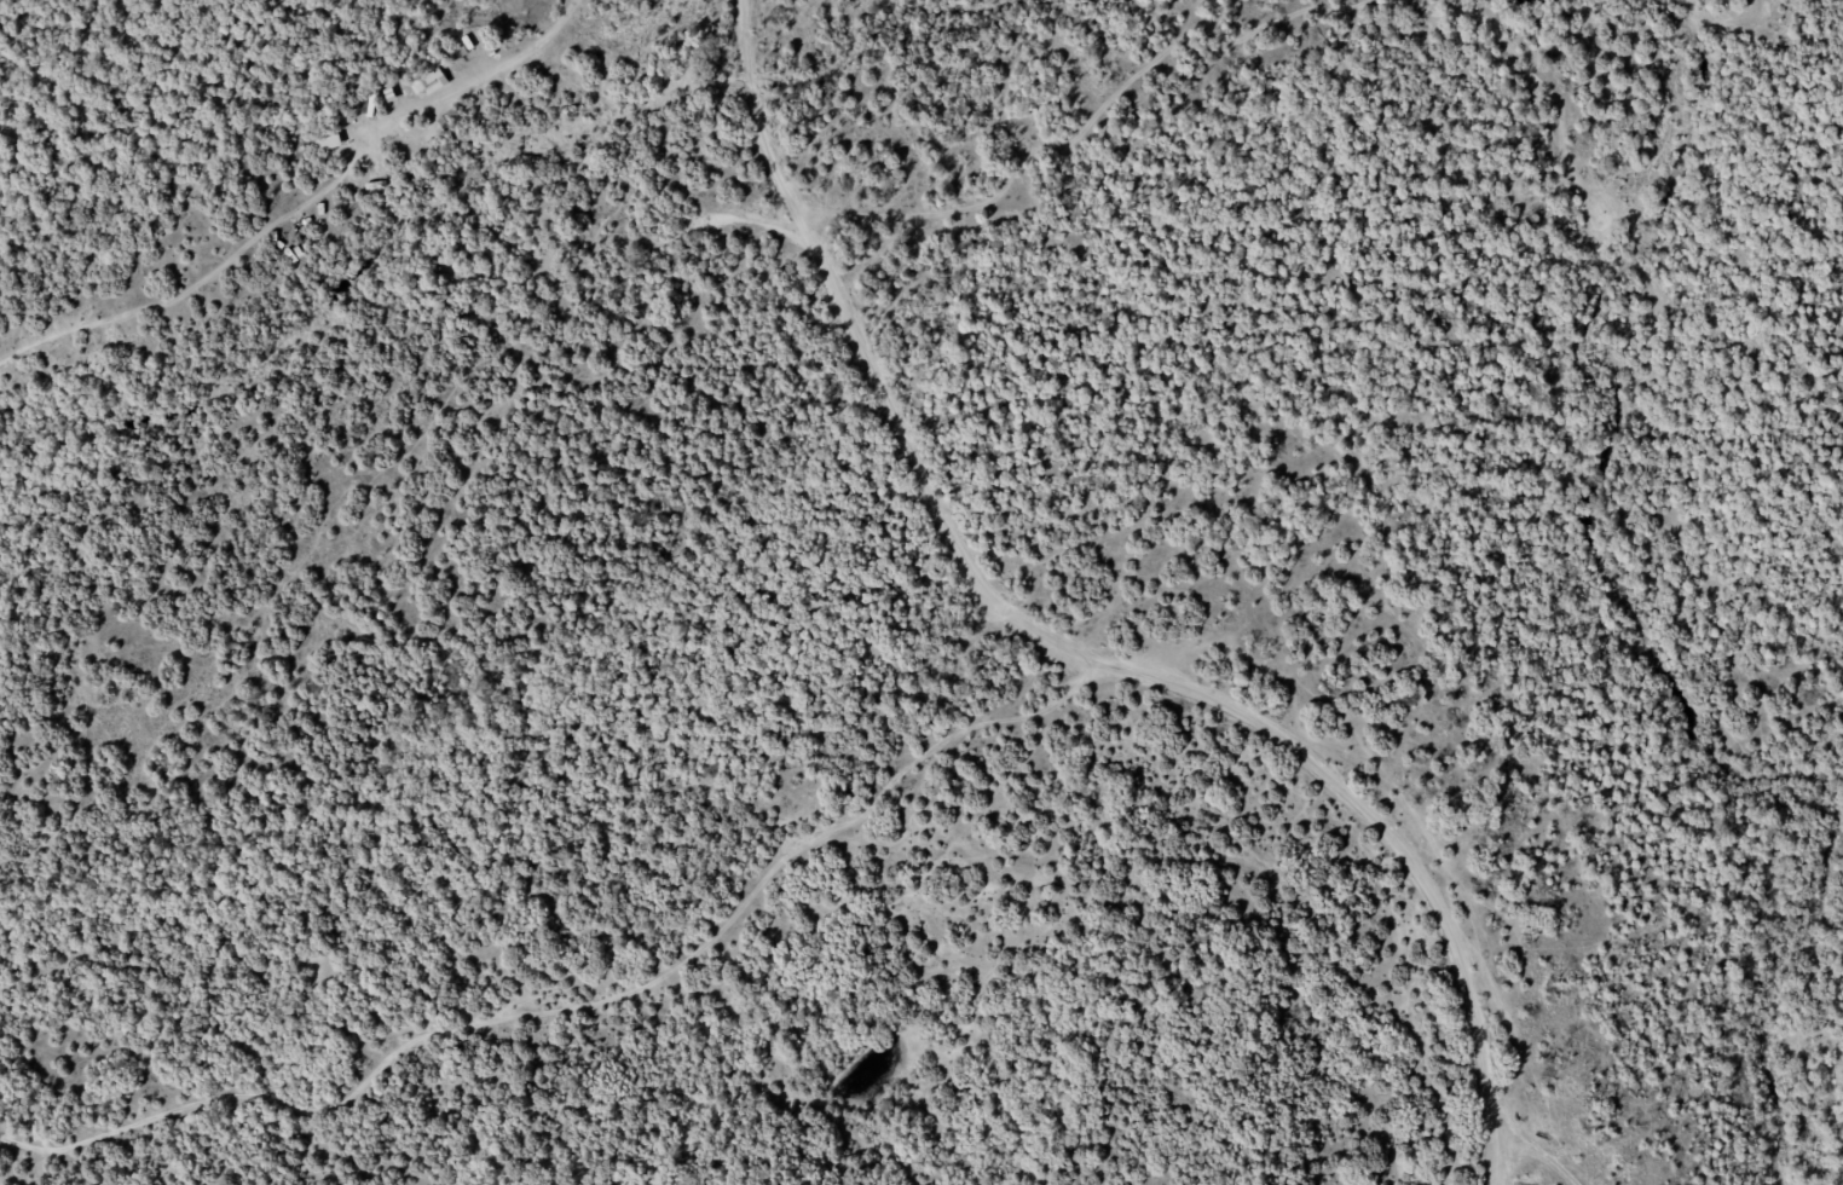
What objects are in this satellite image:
road: (497, 65)
building: (432, 85)
building: (331, 145)

